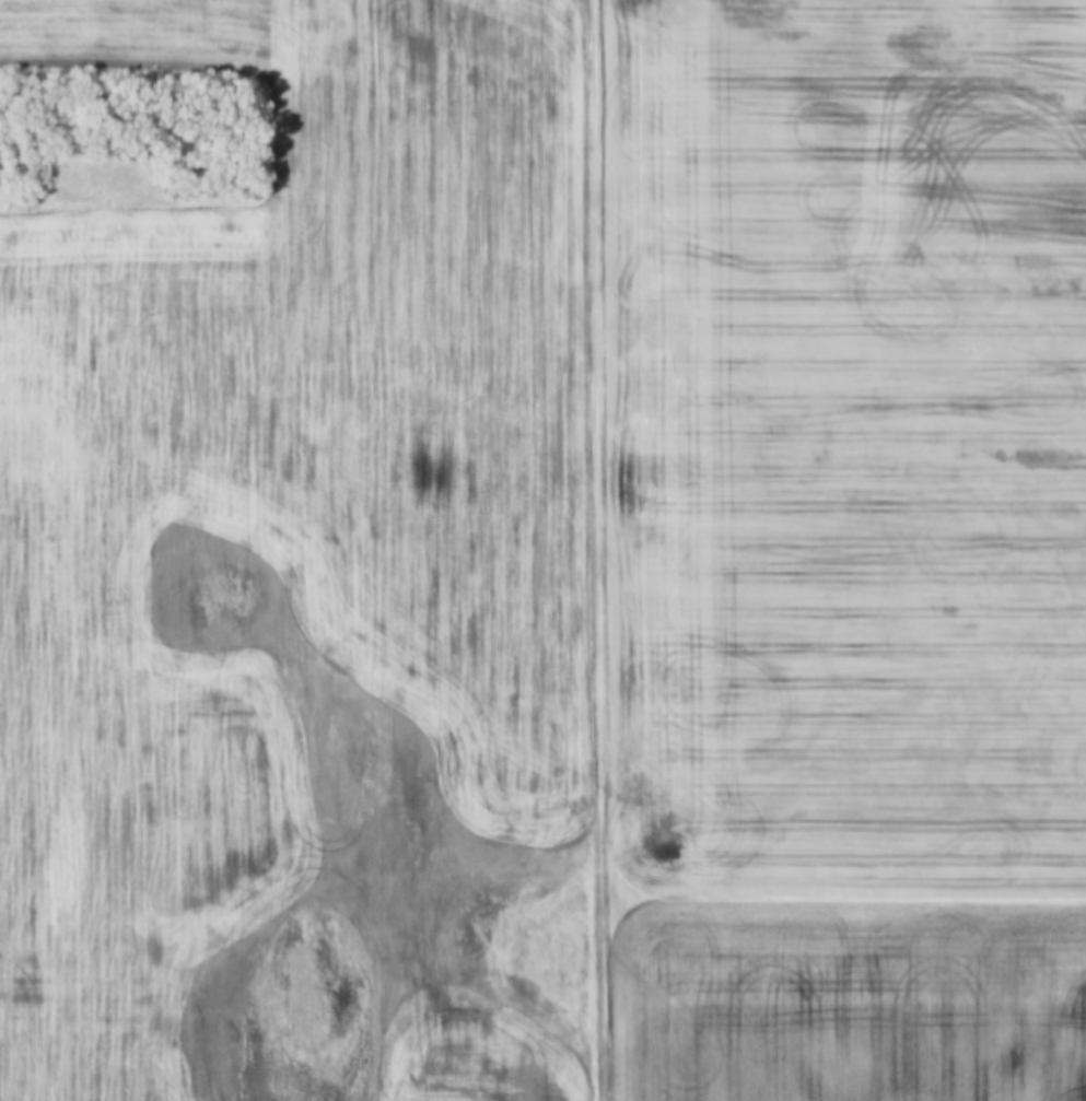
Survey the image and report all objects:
road: (596, 550)

